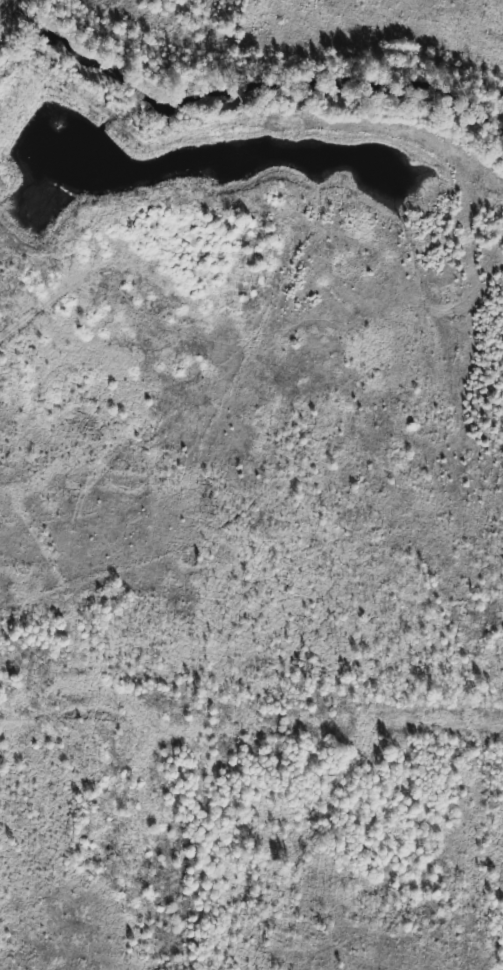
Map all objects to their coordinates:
railway: (1, 1)
railway: (7, 8)

